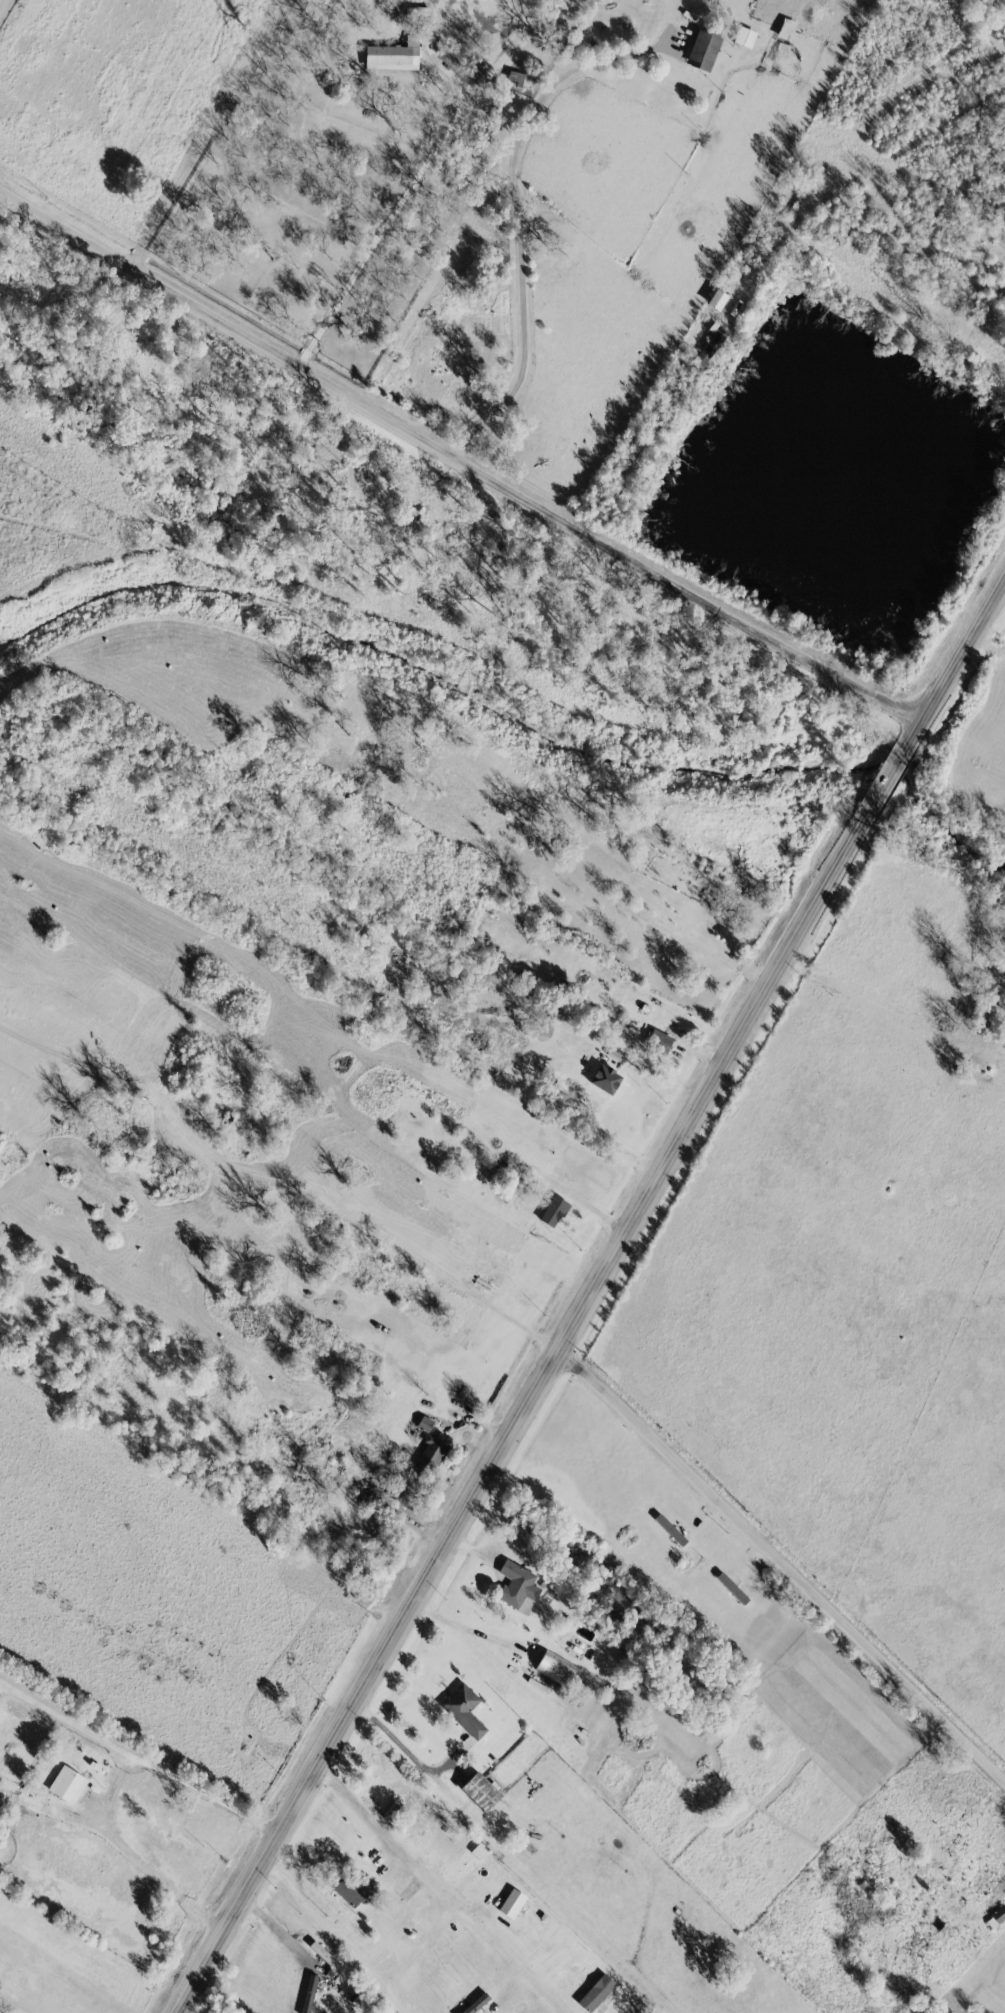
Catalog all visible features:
road: (2, 4)
building: (698, 49)
building: (396, 55)
road: (859, 99)
road: (421, 178)
road: (514, 216)
building: (710, 299)
building: (704, 348)
road: (461, 450)
road: (870, 1000)
road: (710, 1052)
building: (608, 1078)
road: (592, 1143)
road: (595, 1207)
building: (555, 1210)
road: (258, 1280)
road: (597, 1295)
building: (425, 1424)
road: (651, 1425)
building: (434, 1451)
road: (204, 1497)
road: (503, 1561)
building: (518, 1587)
road: (473, 1636)
building: (557, 1669)
building: (465, 1709)
road: (69, 1722)
road: (418, 1754)
building: (68, 1785)
road: (111, 1792)
building: (484, 1792)
building: (478, 1852)
building: (351, 1891)
road: (443, 1891)
building: (513, 1904)
road: (983, 1911)
building: (993, 1916)
road: (276, 1919)
road: (409, 1934)
road: (340, 1935)
road: (426, 1946)
road: (313, 1970)
road: (490, 1986)
building: (598, 1993)
building: (311, 1995)
building: (478, 2003)
road: (484, 2006)

